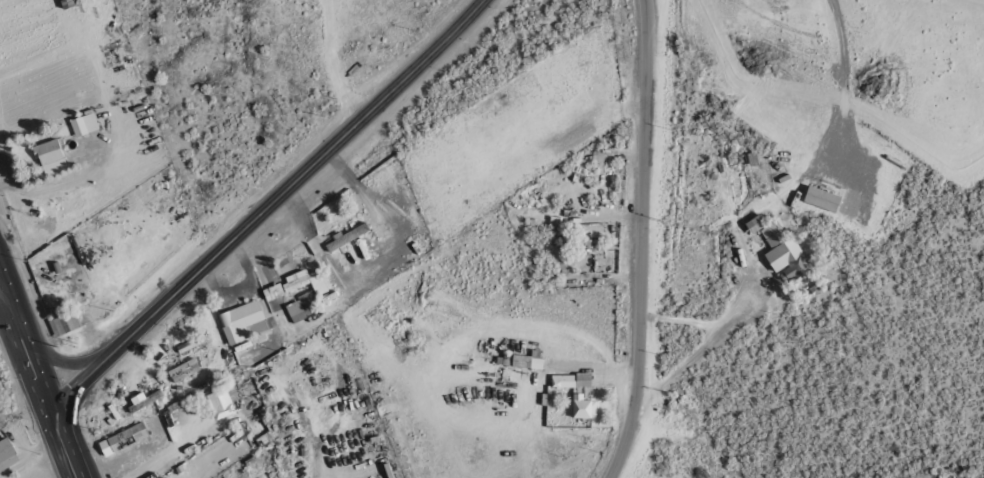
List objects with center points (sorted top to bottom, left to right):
road: (969, 4)
road: (331, 62)
building: (82, 125)
building: (49, 158)
building: (820, 200)
road: (267, 204)
road: (637, 241)
building: (787, 262)
building: (272, 293)
building: (304, 295)
building: (238, 322)
road: (878, 354)
building: (522, 362)
building: (182, 371)
road: (38, 382)
building: (232, 394)
building: (576, 396)
building: (219, 405)
building: (121, 440)
building: (6, 455)
road: (30, 460)

